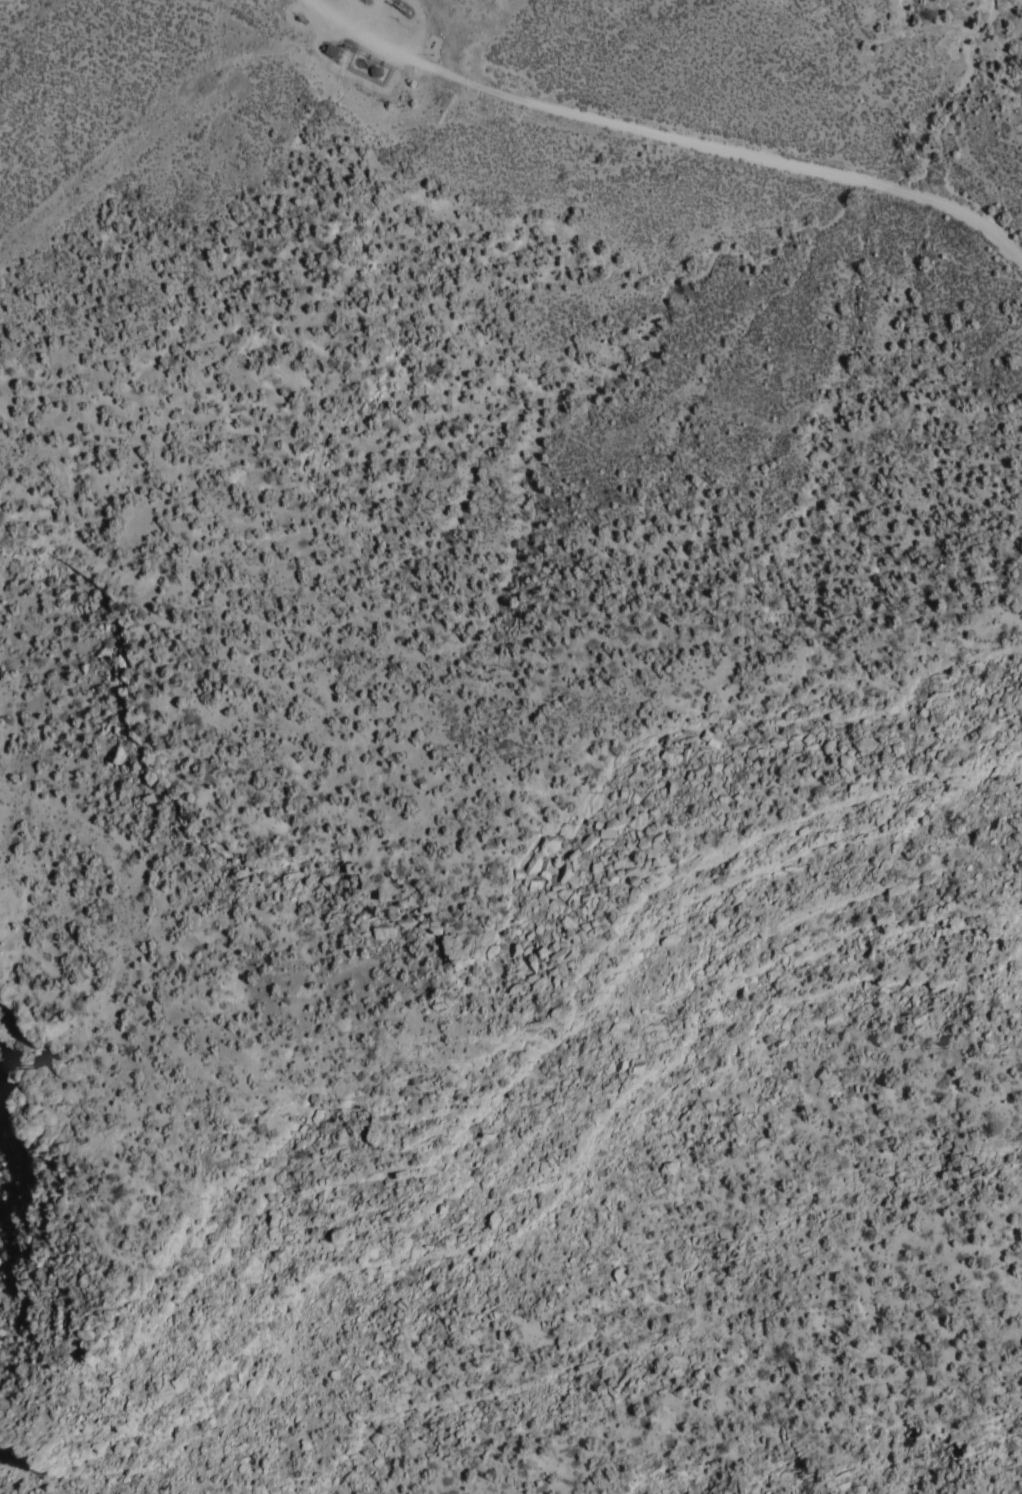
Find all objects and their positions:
road: (791, 103)

